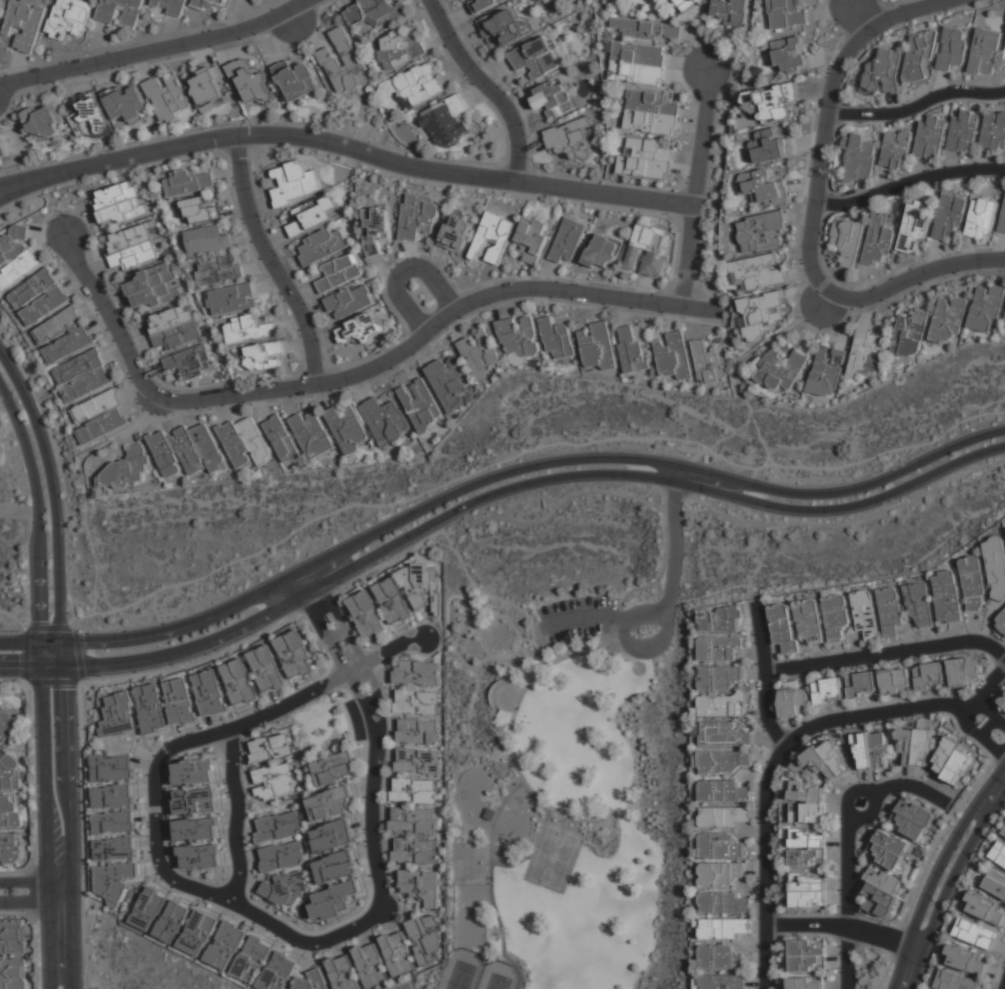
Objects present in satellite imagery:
building: (688, 3)
building: (212, 4)
building: (482, 5)
building: (170, 6)
building: (120, 11)
building: (380, 11)
building: (731, 11)
building: (787, 13)
building: (354, 15)
building: (69, 17)
road: (890, 18)
building: (24, 24)
building: (503, 27)
building: (646, 29)
building: (952, 48)
building: (398, 49)
road: (157, 50)
building: (985, 51)
building: (789, 53)
building: (919, 54)
building: (536, 57)
building: (1004, 57)
building: (344, 63)
building: (637, 63)
building: (883, 72)
building: (297, 79)
building: (251, 82)
building: (420, 83)
road: (489, 86)
building: (208, 88)
building: (168, 97)
building: (552, 98)
building: (125, 103)
building: (769, 104)
road: (918, 104)
building: (651, 113)
building: (88, 116)
building: (43, 120)
building: (446, 121)
building: (994, 130)
building: (964, 132)
building: (931, 136)
road: (701, 138)
building: (569, 140)
building: (772, 145)
building: (2, 148)
building: (896, 149)
road: (354, 151)
road: (824, 155)
building: (859, 158)
building: (645, 159)
road: (910, 180)
building: (190, 182)
building: (295, 183)
road: (8, 184)
building: (763, 186)
road: (8, 191)
building: (119, 202)
building: (199, 210)
building: (950, 214)
building: (314, 215)
building: (418, 216)
building: (982, 218)
building: (1002, 221)
building: (914, 227)
building: (375, 228)
building: (761, 231)
building: (456, 232)
building: (492, 237)
building: (531, 238)
building: (879, 238)
building: (206, 241)
building: (568, 241)
building: (847, 241)
building: (322, 245)
building: (132, 246)
building: (646, 250)
building: (601, 251)
building: (16, 257)
road: (688, 257)
road: (274, 260)
building: (219, 270)
building: (339, 272)
road: (404, 272)
building: (757, 272)
road: (905, 278)
building: (153, 286)
building: (38, 297)
building: (232, 299)
building: (349, 301)
building: (987, 308)
road: (700, 309)
building: (762, 314)
building: (948, 318)
road: (111, 322)
building: (58, 325)
building: (173, 327)
building: (1004, 328)
building: (248, 329)
building: (361, 329)
building: (910, 334)
building: (519, 336)
building: (557, 338)
road: (414, 343)
building: (68, 345)
building: (598, 346)
building: (631, 350)
building: (479, 353)
building: (865, 354)
building: (263, 355)
building: (673, 355)
building: (190, 362)
building: (709, 362)
building: (783, 369)
building: (827, 372)
building: (83, 374)
building: (449, 381)
building: (420, 404)
building: (100, 416)
building: (385, 418)
building: (347, 429)
building: (312, 432)
building: (282, 439)
building: (245, 442)
building: (186, 451)
building: (126, 467)
road: (521, 468)
road: (62, 473)
road: (677, 475)
road: (51, 494)
road: (844, 507)
road: (19, 510)
road: (38, 521)
road: (824, 523)
road: (429, 536)
road: (357, 563)
building: (995, 566)
road: (673, 568)
road: (305, 581)
building: (972, 583)
building: (422, 585)
building: (946, 596)
building: (393, 601)
building: (919, 605)
building: (890, 610)
building: (366, 614)
building: (836, 615)
building: (865, 615)
road: (577, 616)
parking lot: (577, 617)
building: (720, 619)
building: (809, 620)
building: (1000, 621)
building: (783, 627)
road: (29, 644)
road: (651, 649)
building: (722, 649)
road: (888, 652)
building: (295, 654)
road: (20, 667)
building: (266, 668)
building: (963, 670)
building: (417, 672)
road: (768, 673)
building: (931, 675)
building: (719, 677)
building: (896, 680)
building: (239, 681)
road: (78, 682)
road: (12, 683)
building: (862, 684)
road: (986, 687)
building: (829, 691)
building: (209, 694)
building: (417, 701)
building: (793, 701)
building: (1002, 701)
building: (178, 703)
building: (723, 705)
building: (151, 710)
road: (968, 710)
road: (874, 712)
building: (117, 715)
road: (250, 721)
road: (996, 721)
building: (5, 724)
building: (417, 731)
building: (724, 735)
park: (565, 743)
road: (988, 745)
building: (914, 746)
building: (270, 748)
building: (871, 751)
building: (828, 760)
building: (951, 760)
building: (417, 761)
building: (724, 762)
building: (334, 768)
building: (110, 769)
building: (10, 772)
building: (192, 772)
building: (273, 781)
road: (912, 786)
building: (413, 790)
building: (723, 791)
building: (111, 796)
building: (194, 801)
building: (329, 803)
building: (808, 803)
building: (10, 811)
road: (869, 814)
road: (68, 815)
road: (237, 816)
building: (726, 817)
building: (911, 818)
building: (413, 820)
building: (113, 823)
road: (45, 827)
building: (276, 827)
building: (194, 829)
building: (1003, 831)
road: (84, 835)
building: (330, 836)
building: (720, 846)
building: (11, 848)
building: (113, 848)
building: (809, 848)
building: (887, 849)
building: (414, 851)
building: (998, 853)
building: (198, 856)
building: (280, 857)
park: (552, 857)
road: (929, 858)
road: (763, 862)
building: (332, 867)
road: (937, 870)
road: (376, 873)
building: (722, 874)
building: (114, 881)
building: (995, 883)
road: (947, 884)
building: (421, 886)
road: (34, 890)
building: (283, 890)
building: (809, 890)
building: (881, 893)
road: (847, 901)
building: (726, 902)
building: (331, 903)
building: (984, 907)
building: (147, 908)
building: (171, 920)
road: (820, 925)
building: (724, 929)
building: (197, 932)
building: (976, 933)
building: (12, 937)
building: (426, 939)
road: (898, 943)
building: (225, 945)
building: (397, 953)
building: (807, 956)
building: (720, 957)
building: (965, 960)
building: (249, 961)
park: (141, 962)
building: (370, 964)
park: (464, 970)
building: (278, 972)
building: (342, 972)
building: (13, 974)
park: (500, 976)
building: (310, 980)
building: (724, 981)
building: (955, 981)
building: (805, 983)
road: (1004, 987)

